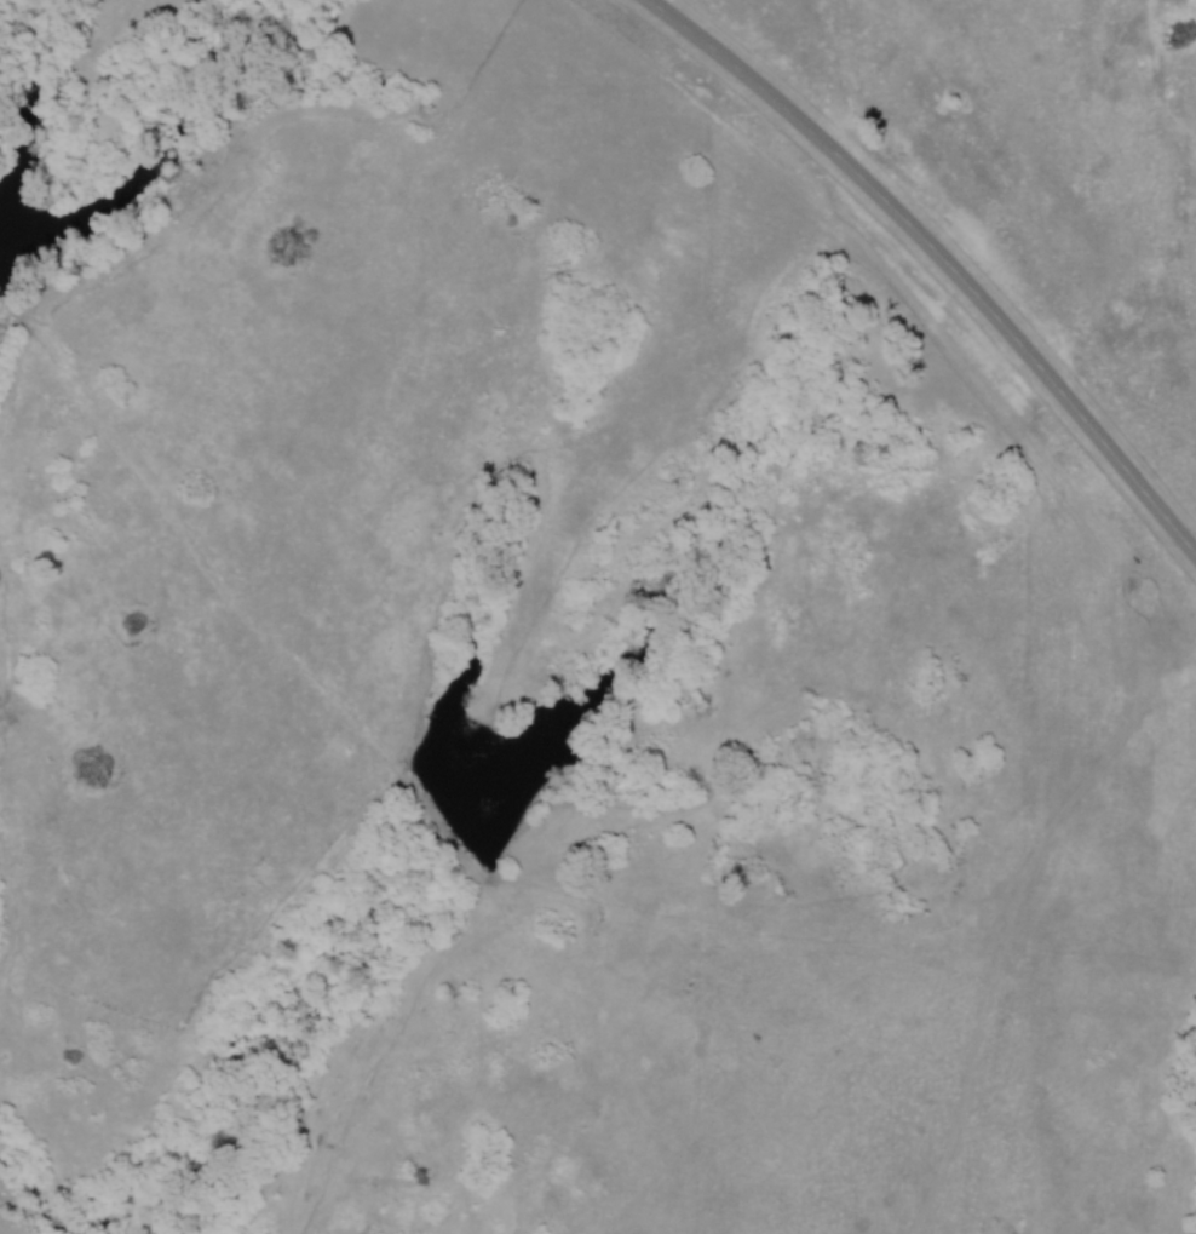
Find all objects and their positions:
road: (941, 254)

